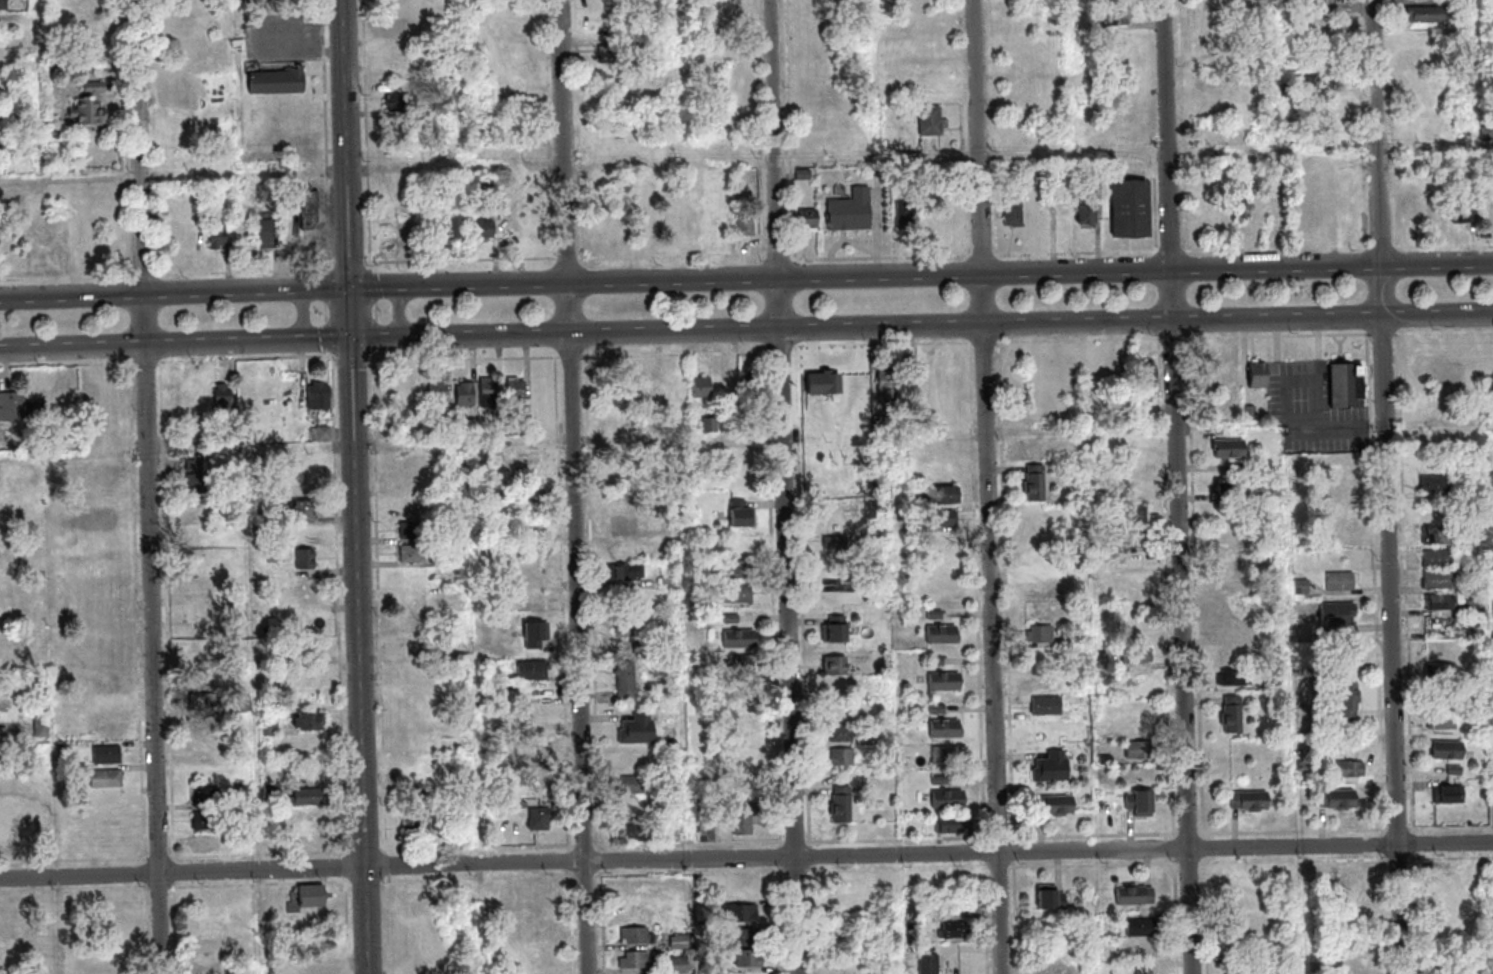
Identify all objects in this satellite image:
building: (1254, 0)
building: (1281, 1)
building: (3, 4)
building: (1459, 4)
road: (1150, 13)
building: (1425, 15)
building: (1117, 17)
road: (1157, 26)
building: (1218, 35)
road: (259, 38)
building: (614, 54)
building: (400, 56)
building: (1417, 56)
building: (1325, 60)
building: (442, 62)
building: (278, 80)
building: (1312, 82)
building: (1286, 89)
road: (40, 90)
building: (400, 102)
building: (91, 105)
building: (442, 110)
building: (932, 120)
building: (51, 122)
road: (1363, 123)
road: (1393, 123)
road: (1183, 125)
road: (790, 126)
building: (1487, 132)
building: (57, 133)
road: (368, 135)
building: (27, 136)
road: (328, 136)
road: (156, 137)
building: (1, 145)
road: (1160, 154)
road: (868, 157)
building: (1093, 170)
road: (989, 173)
building: (804, 175)
road: (70, 180)
building: (465, 185)
road: (1156, 203)
building: (1486, 206)
building: (1409, 207)
building: (310, 209)
building: (1131, 209)
building: (851, 211)
building: (1014, 211)
building: (1462, 212)
building: (1087, 213)
building: (906, 214)
road: (997, 214)
building: (694, 219)
building: (809, 219)
building: (722, 220)
building: (747, 221)
building: (458, 222)
building: (486, 228)
building: (265, 231)
building: (217, 232)
road: (398, 244)
road: (1443, 246)
road: (747, 247)
road: (764, 247)
road: (1383, 247)
road: (1279, 249)
road: (1173, 251)
road: (1077, 253)
road: (780, 254)
road: (674, 256)
road: (983, 256)
road: (377, 258)
road: (877, 258)
road: (568, 259)
road: (461, 261)
road: (351, 263)
road: (246, 272)
road: (145, 275)
road: (67, 278)
road: (746, 278)
traffic signals: (351, 288)
road: (396, 311)
road: (327, 312)
road: (378, 312)
road: (305, 315)
road: (746, 328)
road: (1446, 333)
road: (1385, 334)
road: (1279, 336)
road: (1175, 338)
traffic signals: (355, 339)
road: (1080, 340)
road: (986, 342)
road: (884, 343)
road: (783, 349)
road: (676, 354)
road: (374, 357)
road: (577, 358)
road: (245, 359)
road: (371, 361)
road: (148, 362)
road: (353, 362)
road: (110, 363)
road: (336, 363)
road: (46, 365)
road: (5, 367)
road: (1320, 372)
building: (1146, 374)
building: (1258, 375)
road: (1299, 378)
building: (824, 383)
building: (887, 384)
building: (1346, 385)
building: (753, 386)
building: (702, 387)
building: (516, 389)
building: (439, 390)
building: (489, 392)
building: (466, 394)
building: (222, 395)
building: (319, 395)
building: (20, 407)
parking lot: (1314, 411)
building: (1151, 412)
building: (1252, 413)
road: (1287, 419)
building: (881, 420)
building: (711, 425)
building: (322, 434)
building: (1230, 444)
building: (1237, 468)
building: (846, 477)
building: (197, 480)
building: (1492, 481)
building: (1036, 483)
building: (1436, 484)
building: (1339, 485)
road: (150, 486)
road: (359, 486)
road: (785, 486)
road: (989, 486)
road: (575, 487)
road: (1179, 487)
road: (1389, 487)
building: (1227, 489)
building: (941, 495)
road: (777, 505)
building: (532, 508)
building: (304, 509)
building: (742, 514)
building: (1134, 514)
building: (943, 518)
building: (260, 520)
building: (411, 530)
building: (201, 536)
building: (301, 536)
building: (1438, 536)
building: (1134, 538)
building: (836, 545)
building: (1103, 546)
building: (412, 553)
building: (1438, 559)
building: (307, 562)
building: (1040, 562)
building: (740, 569)
building: (625, 572)
building: (669, 574)
road: (773, 574)
road: (140, 579)
building: (1229, 580)
building: (1438, 580)
building: (1340, 582)
road: (1407, 584)
building: (199, 585)
building: (1131, 585)
road: (1377, 585)
road: (1168, 586)
road: (1198, 586)
building: (1303, 587)
road: (979, 593)
road: (1008, 593)
building: (739, 594)
road: (804, 596)
building: (1440, 603)
road: (340, 604)
road: (595, 604)
building: (1477, 608)
road: (169, 611)
building: (936, 614)
building: (1337, 616)
building: (732, 619)
building: (626, 626)
building: (1231, 629)
building: (837, 630)
building: (943, 634)
building: (1041, 634)
building: (536, 635)
building: (740, 639)
building: (1081, 639)
building: (1070, 642)
building: (414, 647)
building: (644, 647)
building: (307, 651)
road: (782, 654)
building: (1138, 655)
building: (937, 662)
building: (745, 664)
building: (836, 665)
building: (1104, 665)
building: (534, 670)
building: (1441, 673)
building: (1236, 677)
building: (310, 678)
building: (627, 680)
building: (945, 682)
building: (1277, 684)
building: (838, 699)
building: (1349, 699)
building: (204, 701)
building: (273, 702)
building: (244, 705)
building: (1048, 706)
building: (938, 709)
building: (1233, 715)
building: (1443, 720)
building: (312, 721)
building: (1136, 724)
building: (42, 726)
building: (271, 728)
building: (639, 729)
building: (947, 729)
building: (843, 732)
building: (11, 737)
building: (1141, 750)
building: (1447, 750)
building: (108, 754)
building: (947, 755)
building: (63, 756)
building: (843, 757)
building: (1107, 759)
building: (1304, 766)
building: (1053, 768)
building: (1352, 769)
building: (1456, 771)
building: (107, 778)
building: (941, 780)
building: (634, 785)
building: (674, 790)
building: (273, 791)
building: (418, 791)
building: (1449, 795)
building: (205, 796)
building: (312, 797)
building: (949, 799)
building: (1337, 799)
building: (1250, 801)
building: (1142, 803)
building: (842, 805)
building: (1057, 805)
building: (744, 816)
building: (540, 819)
building: (209, 821)
building: (42, 822)
building: (952, 825)
building: (9, 827)
building: (419, 829)
road: (1452, 829)
road: (145, 830)
road: (1178, 830)
road: (1190, 830)
road: (1202, 830)
road: (1400, 830)
building: (637, 832)
road: (781, 832)
road: (1298, 832)
building: (708, 834)
building: (461, 836)
road: (1092, 836)
road: (1209, 836)
road: (1001, 838)
road: (1169, 838)
road: (899, 840)
building: (205, 841)
road: (797, 842)
road: (1415, 842)
road: (746, 843)
road: (621, 845)
road: (1386, 845)
road: (586, 846)
road: (479, 849)
road: (572, 849)
road: (987, 849)
road: (1170, 849)
road: (1209, 849)
road: (366, 851)
road: (706, 851)
road: (812, 852)
road: (388, 853)
road: (1016, 853)
road: (261, 855)
road: (782, 857)
road: (746, 858)
road: (1451, 858)
road: (149, 859)
road: (161, 859)
road: (1400, 859)
road: (602, 860)
road: (572, 861)
road: (1170, 861)
road: (1210, 861)
road: (1298, 861)
road: (22, 862)
road: (1094, 865)
road: (388, 866)
road: (45, 867)
road: (1006, 867)
road: (347, 868)
road: (1179, 869)
road: (1191, 869)
road: (1203, 869)
building: (1447, 871)
road: (175, 872)
road: (147, 873)
road: (725, 873)
road: (776, 873)
road: (793, 873)
building: (1308, 873)
road: (677, 874)
building: (1353, 874)
road: (637, 876)
road: (586, 877)
road: (600, 877)
road: (481, 879)
road: (368, 881)
road: (261, 884)
road: (161, 887)
road: (75, 889)
building: (1438, 889)
building: (421, 891)
road: (1017, 893)
building: (1136, 895)
building: (313, 896)
building: (1243, 897)
building: (1052, 898)
building: (739, 911)
building: (1434, 911)
road: (1417, 913)
road: (1387, 914)
building: (540, 916)
road: (1208, 918)
road: (1178, 919)
building: (1242, 919)
road: (574, 921)
road: (604, 921)
road: (784, 921)
road: (389, 925)
road: (349, 926)
road: (148, 928)
road: (176, 928)
building: (1144, 928)
building: (955, 931)
building: (635, 934)
building: (743, 935)
building: (678, 940)
building: (1142, 948)
building: (748, 957)
building: (631, 958)
building: (419, 963)
building: (679, 963)
building: (931, 964)
building: (1144, 969)
building: (1243, 970)

